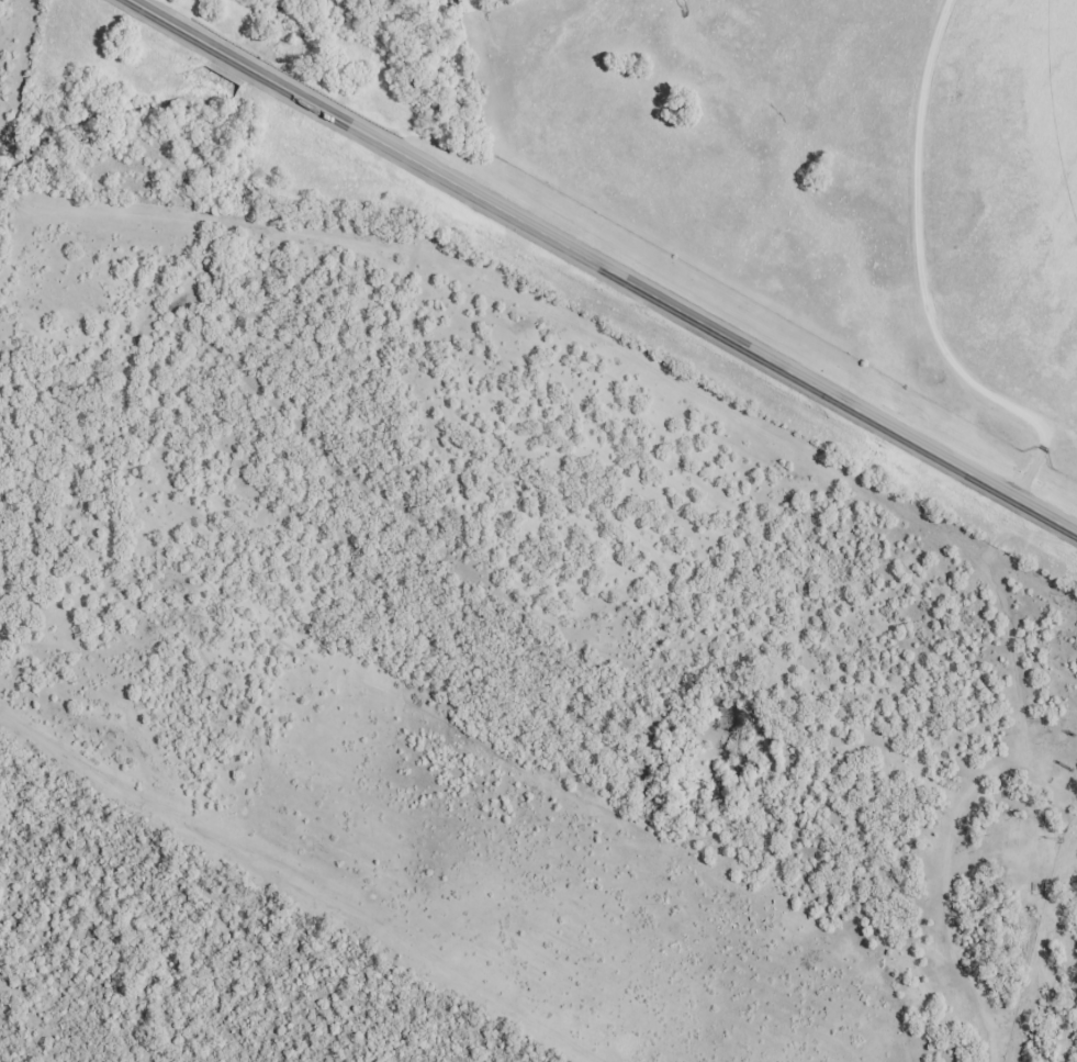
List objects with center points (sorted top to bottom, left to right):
road: (606, 262)
road: (918, 275)

